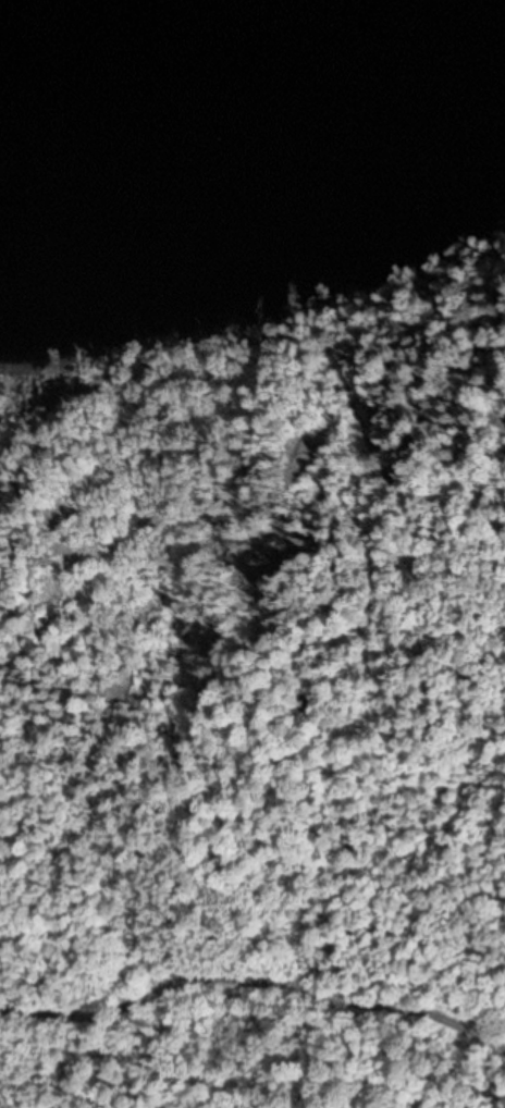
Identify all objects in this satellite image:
road: (253, 977)

